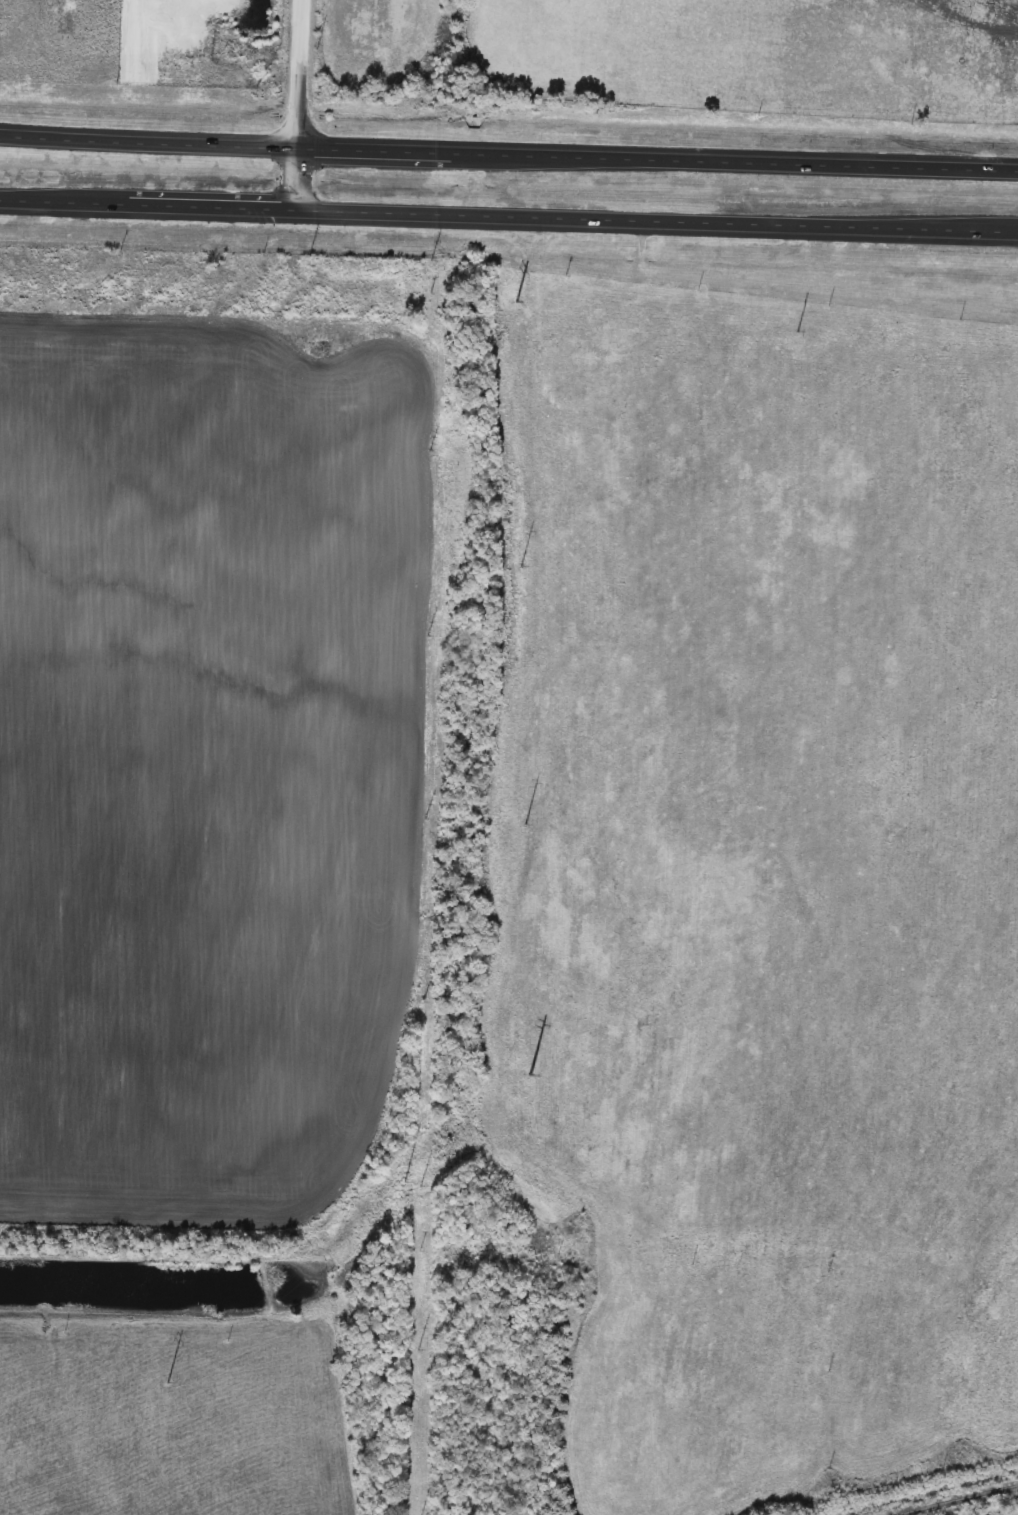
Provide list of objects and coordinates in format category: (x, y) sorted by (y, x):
road: (300, 66)
road: (508, 139)
road: (508, 220)
power tower: (875, 784)
power tower: (632, 990)
power tower: (390, 1186)
power tower: (153, 1384)
railway: (959, 1499)

